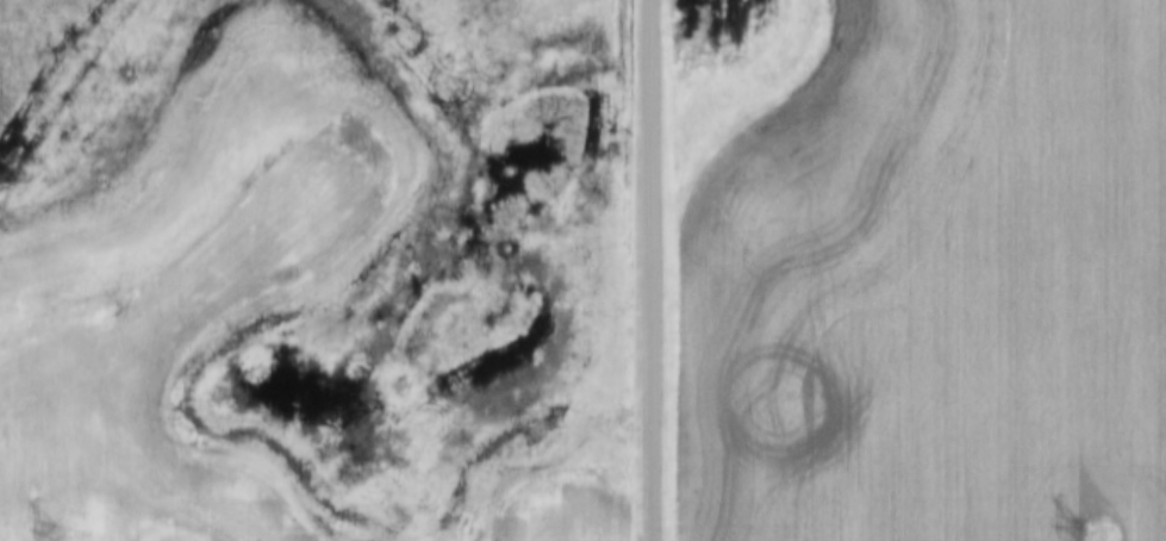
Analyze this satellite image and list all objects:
road: (647, 270)
power tower: (1093, 537)
power tower: (71, 540)

